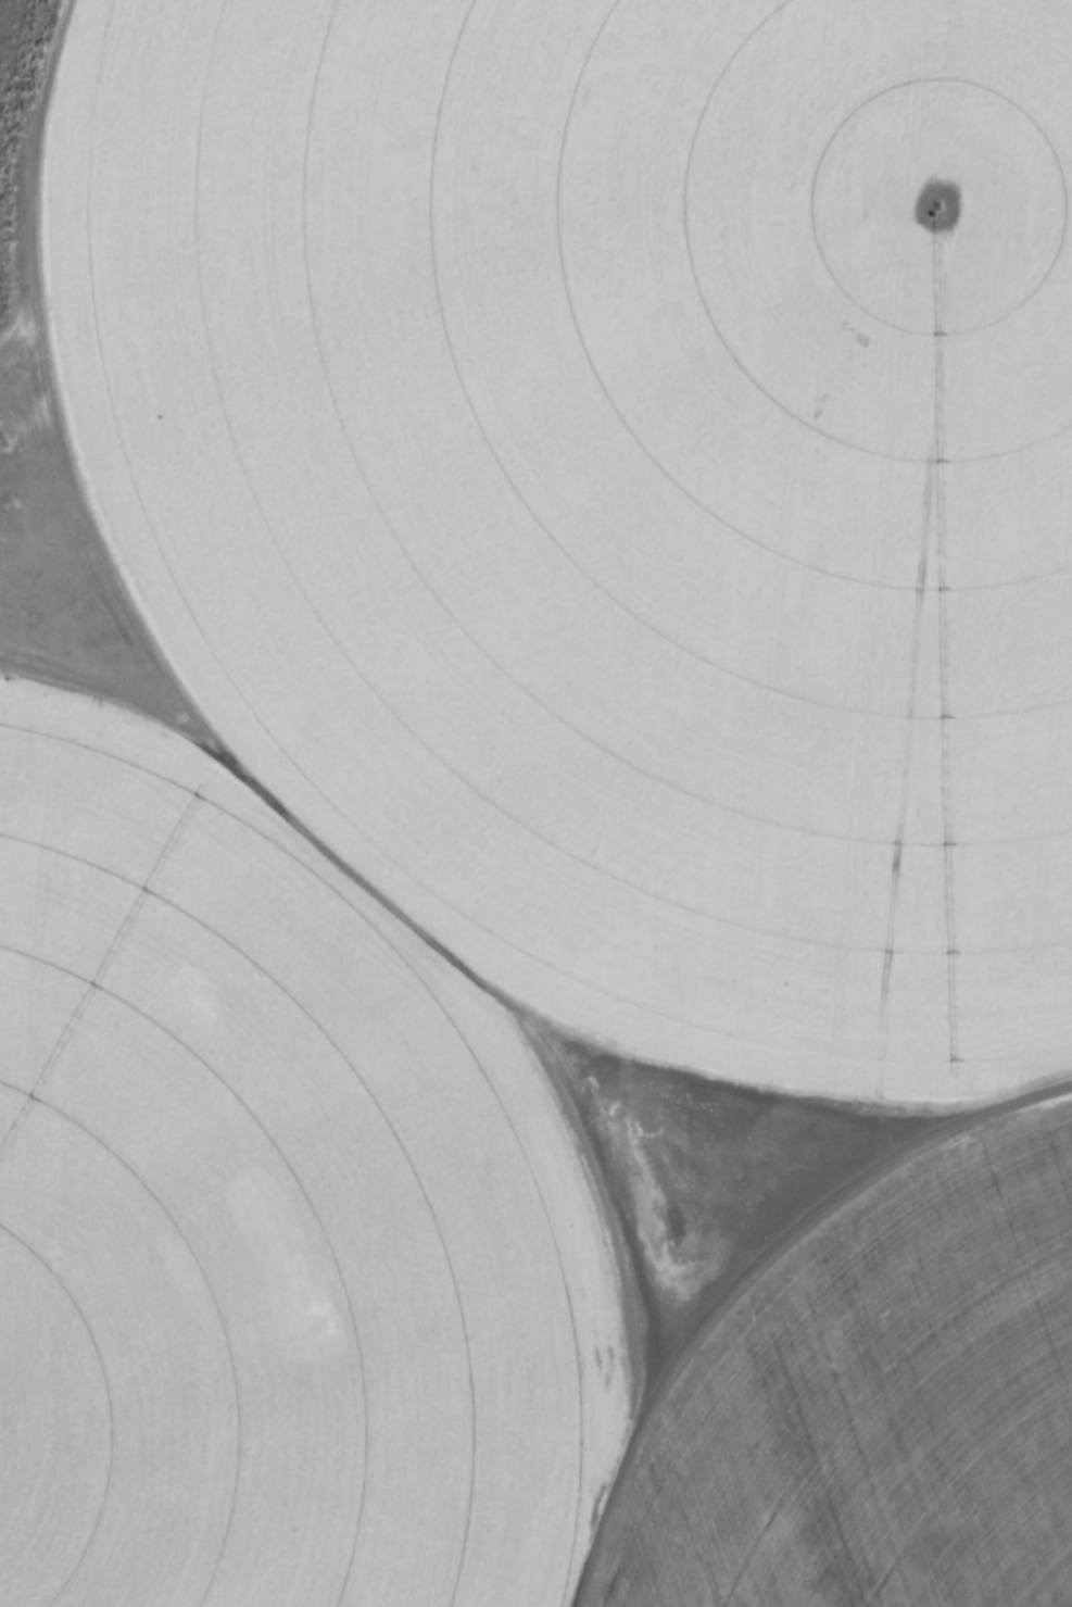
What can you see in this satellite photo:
building: (674, 1123)
building: (608, 1128)
building: (648, 1250)

